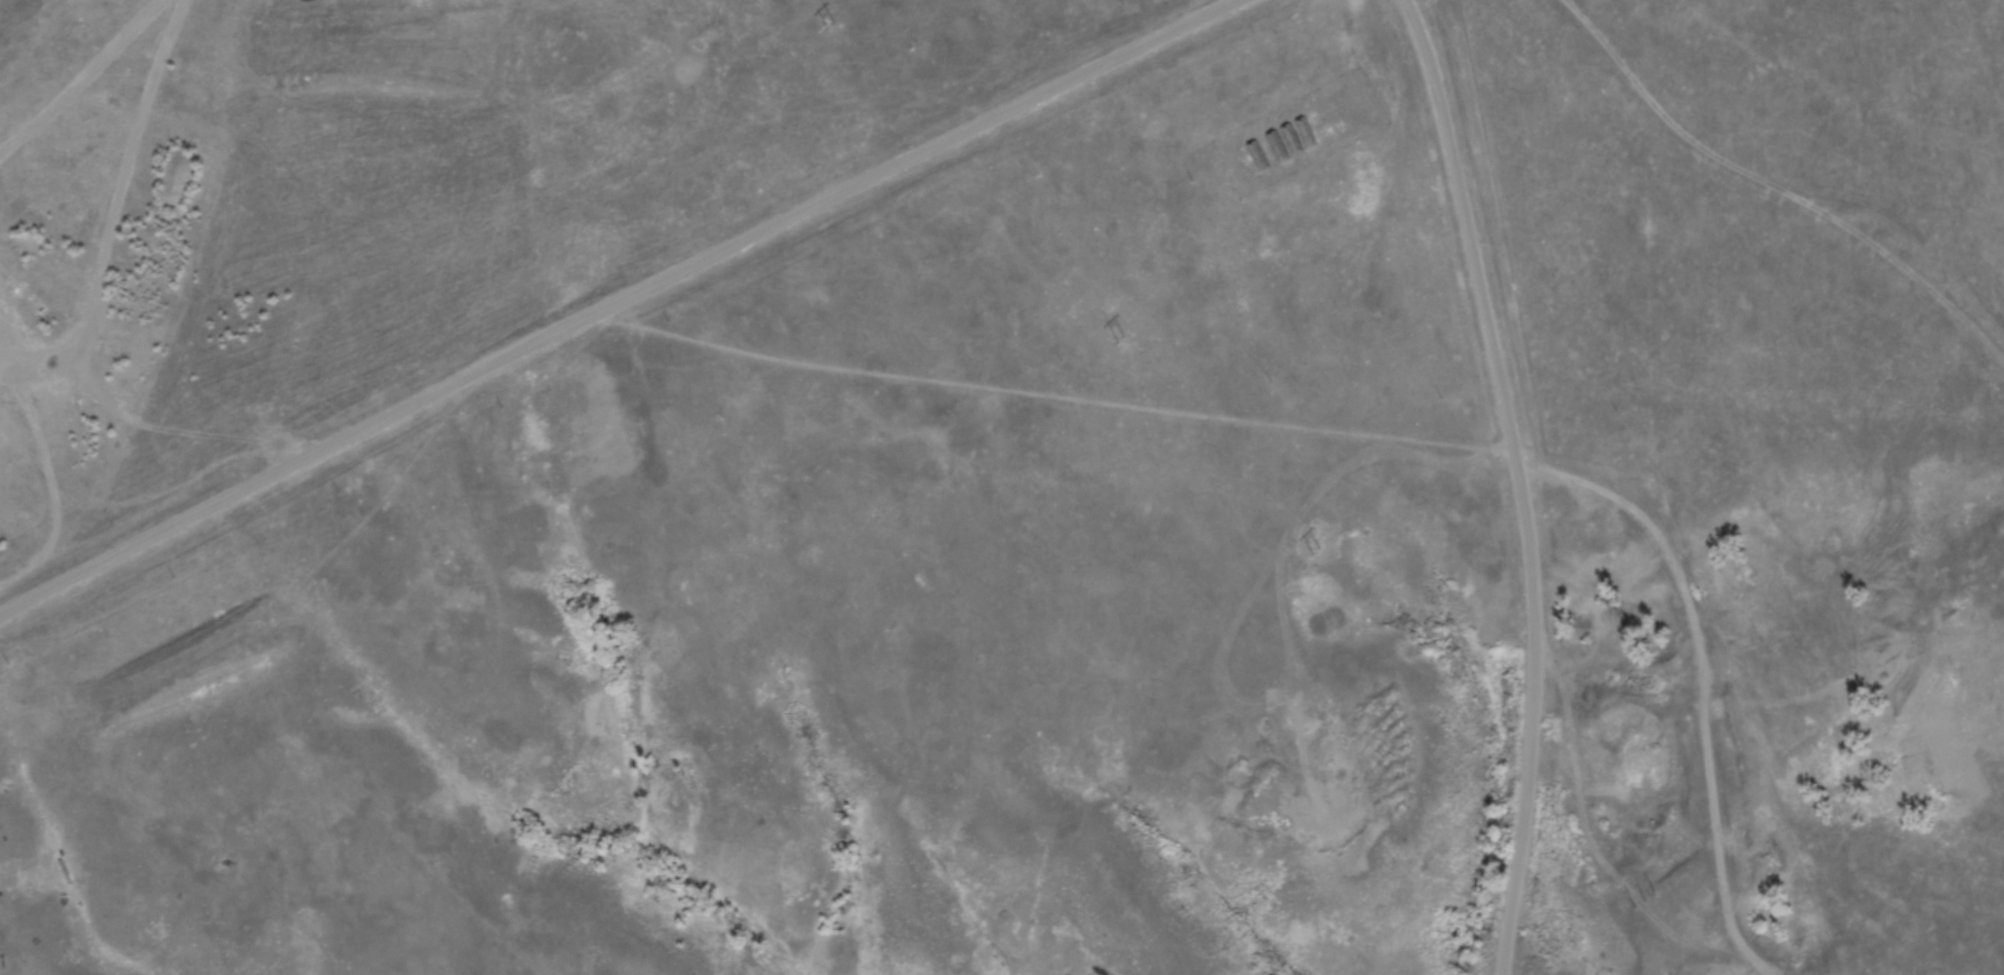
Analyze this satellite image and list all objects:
power tower: (829, 25)
power tower: (1123, 342)
road: (1518, 479)
power tower: (1315, 553)
power tower: (1644, 903)

